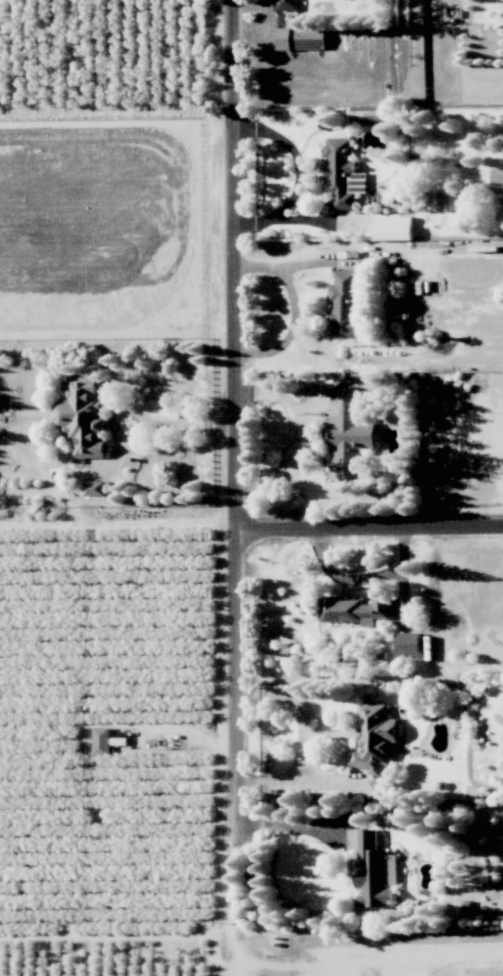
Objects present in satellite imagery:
building: (288, 5)
building: (301, 38)
building: (343, 174)
road: (300, 175)
building: (393, 228)
road: (236, 265)
building: (346, 305)
building: (82, 417)
road: (181, 425)
building: (348, 432)
building: (95, 488)
road: (369, 530)
building: (354, 610)
building: (408, 644)
road: (301, 708)
road: (234, 731)
building: (375, 738)
building: (102, 741)
road: (300, 781)
building: (376, 790)
road: (289, 824)
building: (375, 873)
road: (116, 933)
road: (233, 953)

